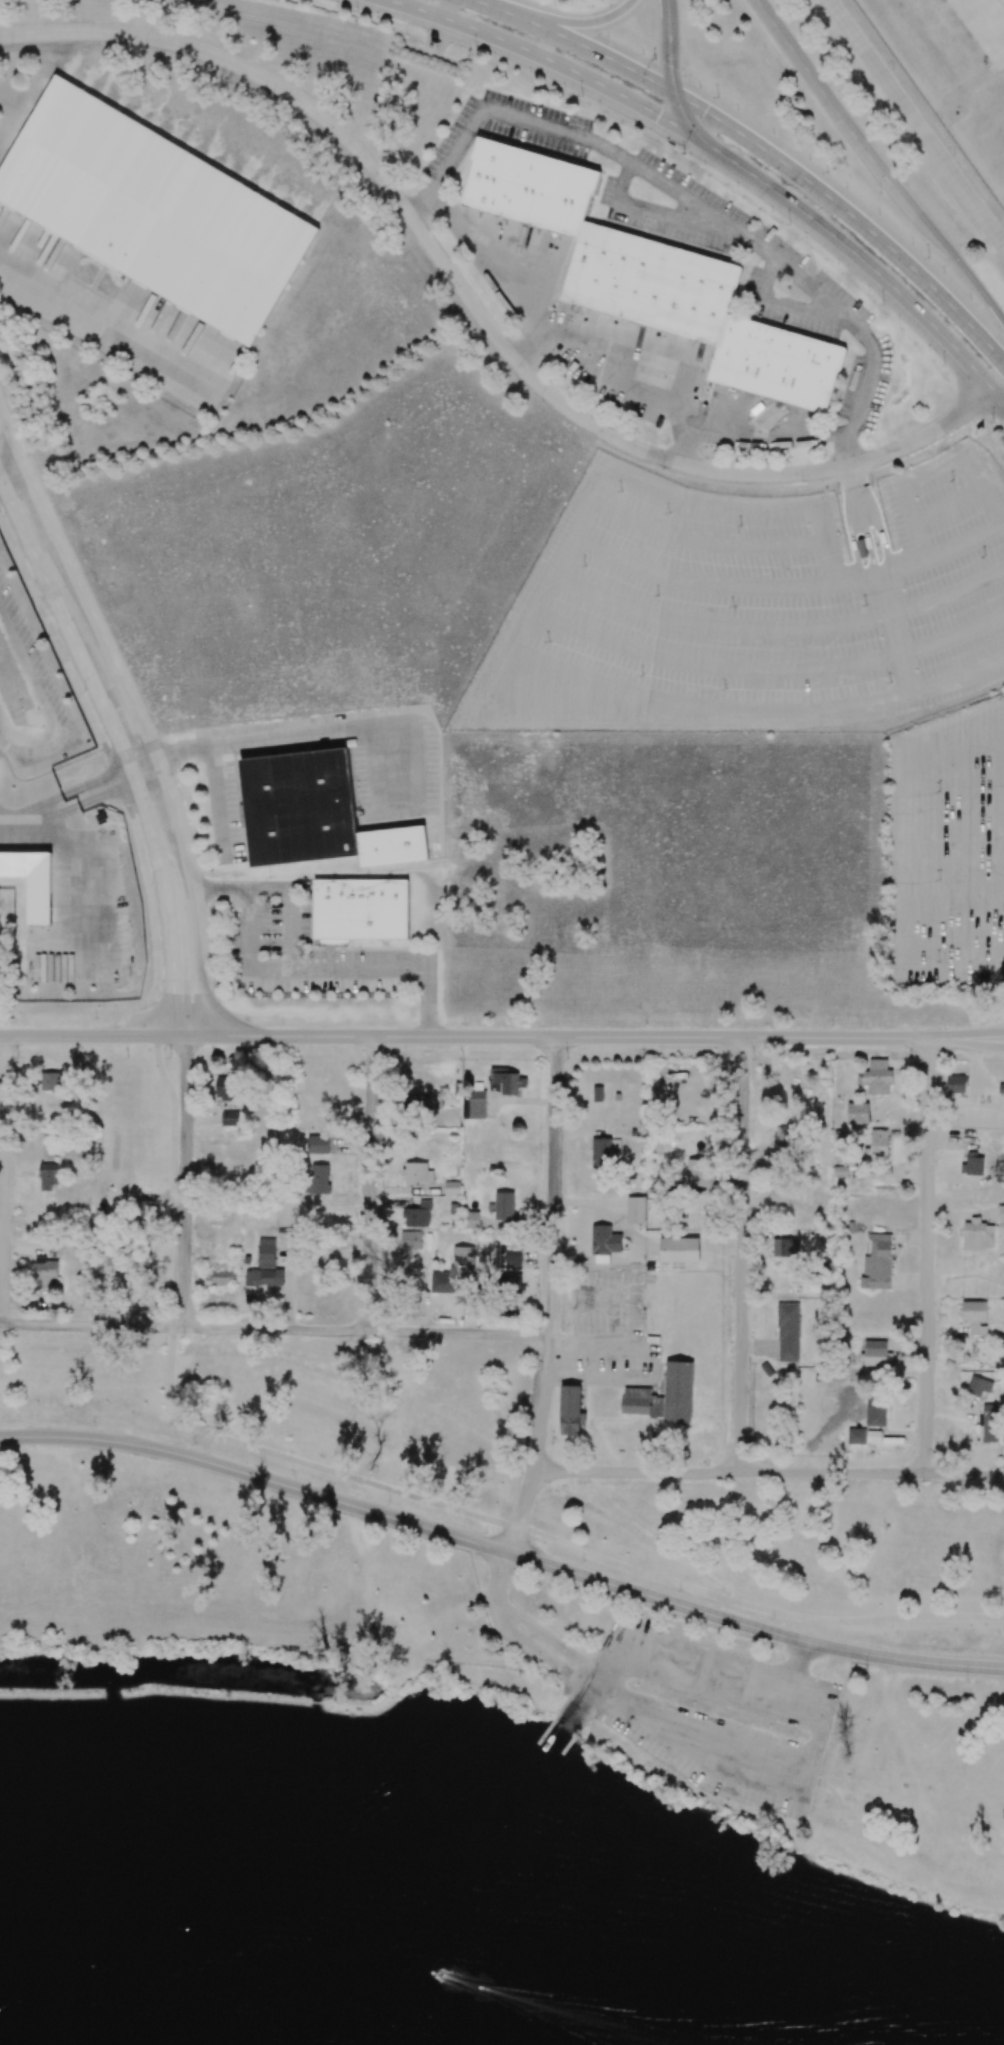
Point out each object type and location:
street lamp: (592, 7)
street lamp: (356, 10)
road: (573, 24)
airport apron: (985, 25)
road: (575, 42)
street lamp: (474, 50)
street lamp: (655, 57)
road: (550, 60)
traffic signals: (670, 65)
road: (671, 75)
street lamp: (580, 95)
street lamp: (718, 96)
airport: (930, 98)
street lamp: (843, 99)
road: (836, 110)
traffic signals: (705, 111)
traffic signals: (658, 115)
road: (916, 122)
street lamp: (683, 154)
street lamp: (827, 171)
street lamp: (880, 193)
road: (691, 197)
building: (153, 210)
road: (670, 214)
road: (850, 214)
street lamp: (789, 225)
street lamp: (928, 257)
road: (864, 261)
road: (965, 268)
building: (652, 280)
road: (785, 303)
street lamp: (882, 305)
road: (478, 312)
road: (108, 327)
road: (529, 348)
street lamp: (943, 366)
road: (609, 374)
road: (999, 391)
street lamp: (992, 422)
street lamp: (933, 442)
road: (686, 443)
road: (12, 467)
road: (927, 470)
street lamp: (802, 484)
street lamp: (838, 492)
road: (949, 505)
road: (876, 517)
road: (861, 521)
road: (699, 539)
road: (853, 544)
building: (862, 548)
road: (783, 586)
parking lot: (749, 609)
road: (773, 630)
road: (895, 635)
road: (763, 669)
road: (594, 679)
road: (476, 690)
road: (528, 697)
road: (42, 706)
road: (138, 712)
road: (326, 731)
road: (122, 748)
road: (949, 759)
road: (114, 765)
road: (80, 796)
road: (217, 799)
building: (299, 807)
road: (70, 871)
building: (32, 882)
road: (954, 908)
building: (360, 909)
road: (250, 947)
road: (303, 968)
street lamp: (214, 978)
road: (151, 1017)
road: (223, 1022)
street lamp: (281, 1024)
street lamp: (465, 1024)
street lamp: (646, 1024)
street lamp: (832, 1025)
road: (93, 1036)
road: (595, 1037)
street lamp: (384, 1054)
street lamp: (170, 1056)
street lamp: (17, 1057)
street lamp: (567, 1058)
street lamp: (753, 1058)
street lamp: (911, 1058)
building: (876, 1077)
building: (50, 1081)
building: (506, 1081)
building: (955, 1084)
building: (224, 1088)
building: (1001, 1088)
building: (598, 1093)
building: (415, 1102)
building: (473, 1104)
building: (858, 1113)
building: (229, 1118)
building: (452, 1119)
building: (877, 1142)
building: (318, 1144)
building: (784, 1145)
building: (601, 1152)
building: (973, 1165)
building: (840, 1171)
building: (699, 1172)
building: (417, 1174)
building: (47, 1177)
building: (318, 1178)
road: (174, 1179)
road: (1, 1180)
road: (187, 1180)
road: (371, 1182)
building: (452, 1188)
building: (504, 1206)
building: (635, 1209)
building: (1000, 1209)
building: (144, 1210)
building: (419, 1215)
building: (471, 1219)
building: (977, 1235)
building: (410, 1242)
building: (605, 1243)
building: (786, 1247)
building: (679, 1250)
building: (266, 1252)
building: (512, 1255)
road: (744, 1256)
road: (926, 1256)
building: (117, 1263)
building: (877, 1263)
building: (45, 1271)
building: (454, 1271)
building: (224, 1276)
building: (264, 1277)
building: (513, 1283)
road: (551, 1297)
building: (975, 1316)
road: (274, 1329)
building: (788, 1332)
street lamp: (181, 1337)
street lamp: (367, 1340)
building: (876, 1353)
building: (979, 1386)
building: (636, 1392)
building: (570, 1410)
building: (876, 1412)
building: (989, 1422)
street lamp: (96, 1423)
building: (856, 1436)
building: (874, 1436)
street lamp: (196, 1442)
road: (303, 1462)
street lamp: (294, 1473)
road: (769, 1475)
street lamp: (722, 1484)
street lamp: (921, 1489)
street lamp: (549, 1490)
street lamp: (391, 1503)
street lamp: (488, 1532)
road: (501, 1551)
street lamp: (585, 1560)
street lamp: (680, 1590)
road: (755, 1607)
street lamp: (775, 1618)
street lamp: (866, 1668)
street lamp: (967, 1679)
park: (473, 1723)

